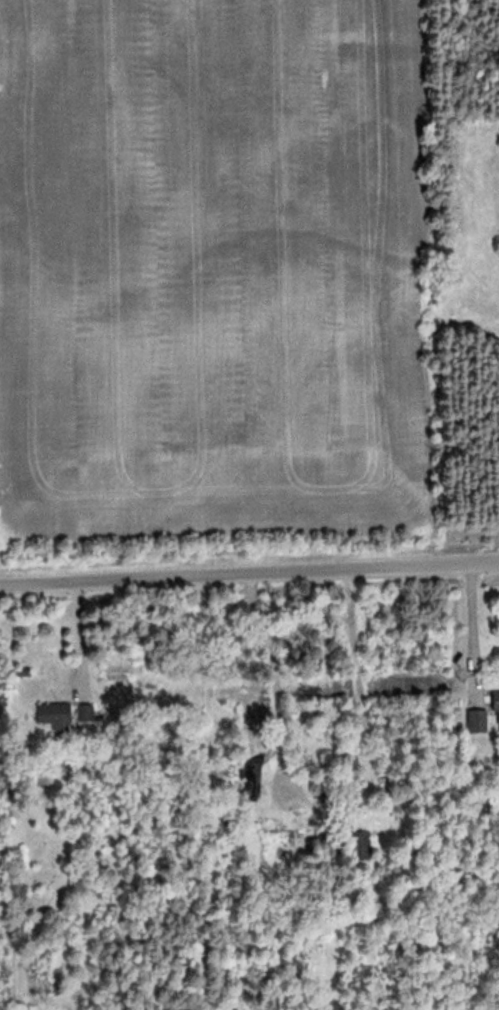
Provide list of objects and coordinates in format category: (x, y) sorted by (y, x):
road: (249, 572)
building: (121, 671)
building: (19, 672)
building: (497, 708)
building: (55, 713)
building: (86, 713)
building: (478, 720)
building: (298, 824)
building: (364, 846)

